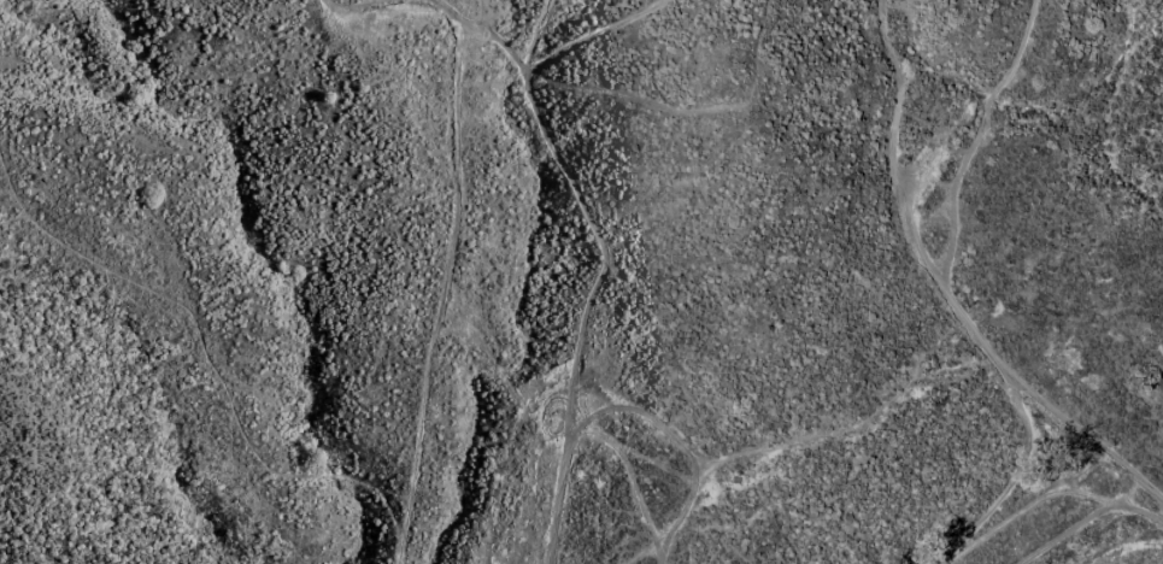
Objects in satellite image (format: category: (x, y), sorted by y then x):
road: (969, 131)
road: (952, 295)

